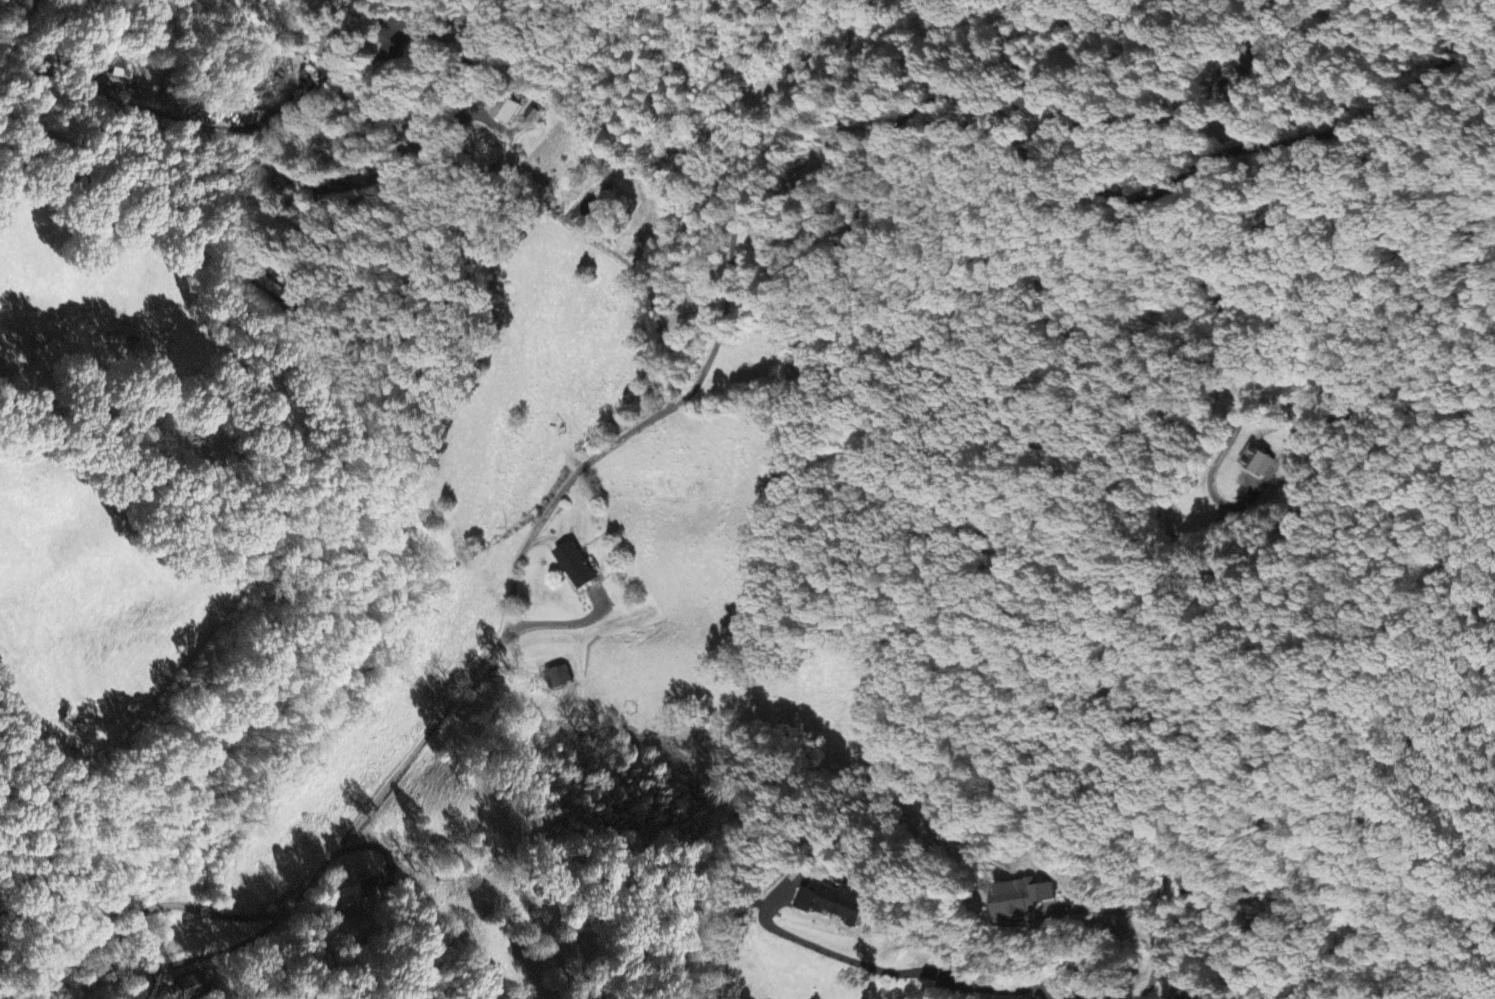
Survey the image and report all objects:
road: (463, 11)
building: (392, 45)
building: (331, 46)
building: (506, 109)
road: (1069, 174)
road: (336, 184)
building: (585, 215)
building: (1257, 463)
building: (575, 568)
building: (559, 680)
road: (431, 736)
road: (1194, 887)
building: (347, 896)
building: (1020, 898)
building: (836, 904)
building: (193, 986)
road: (150, 992)
road: (1016, 993)

